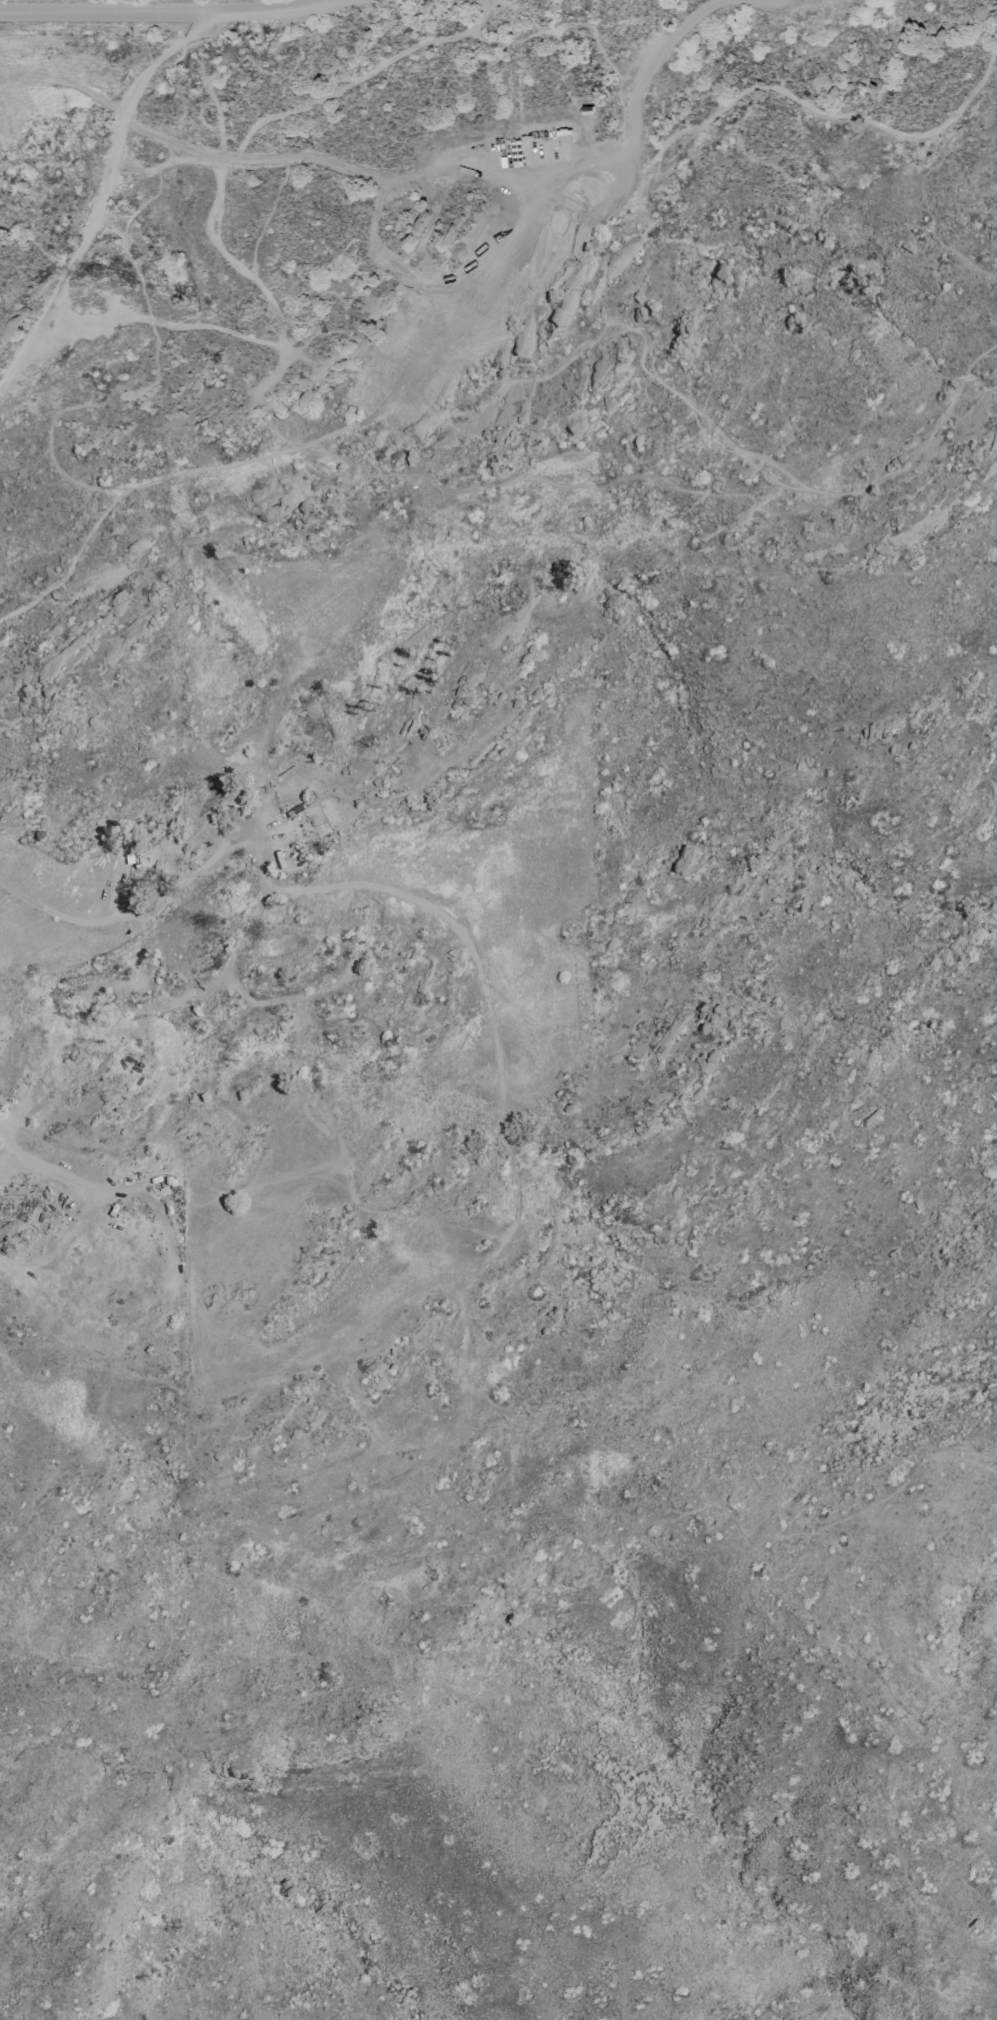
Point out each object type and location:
road: (770, 0)
road: (166, 11)
road: (360, 75)
road: (816, 109)
road: (271, 124)
road: (299, 158)
road: (580, 159)
road: (149, 167)
road: (496, 172)
road: (102, 190)
building: (417, 219)
road: (585, 227)
road: (555, 256)
road: (251, 279)
road: (175, 318)
road: (697, 409)
road: (311, 443)
road: (73, 486)
road: (573, 486)
building: (303, 514)
road: (78, 554)
building: (113, 605)
building: (318, 818)
road: (346, 820)
road: (259, 891)
road: (138, 908)
building: (275, 915)
building: (137, 978)
road: (141, 1010)
road: (505, 1144)
road: (33, 1261)
building: (372, 1367)

